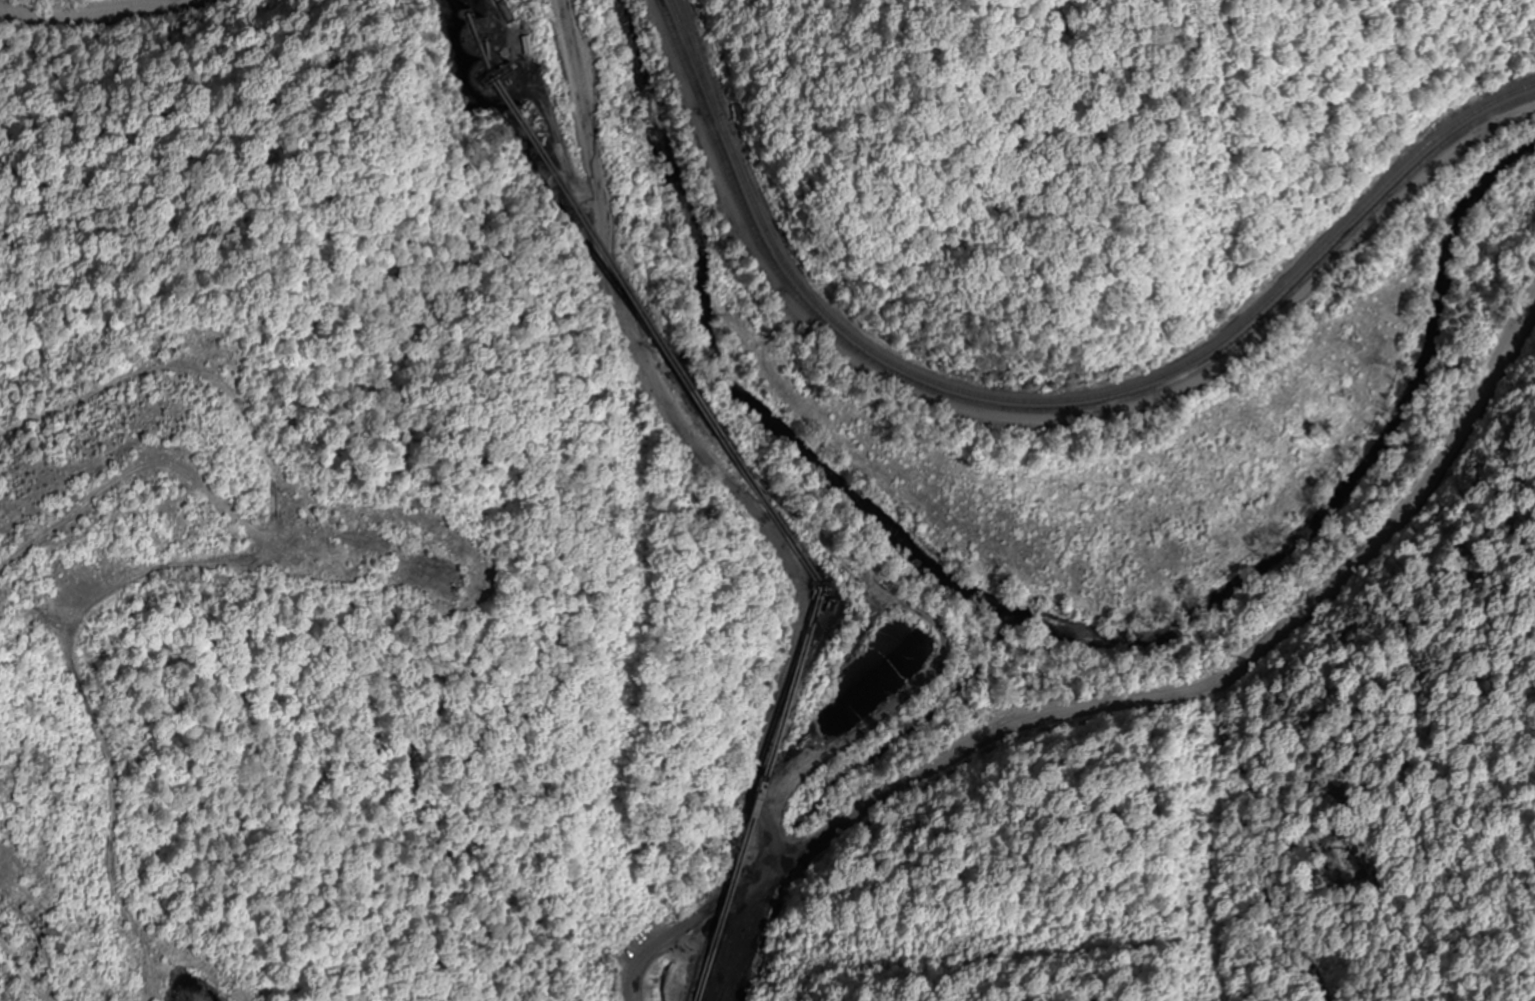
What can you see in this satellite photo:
road: (98, 15)
railway: (1046, 401)
quarry: (188, 722)
road: (805, 851)
road: (769, 927)

